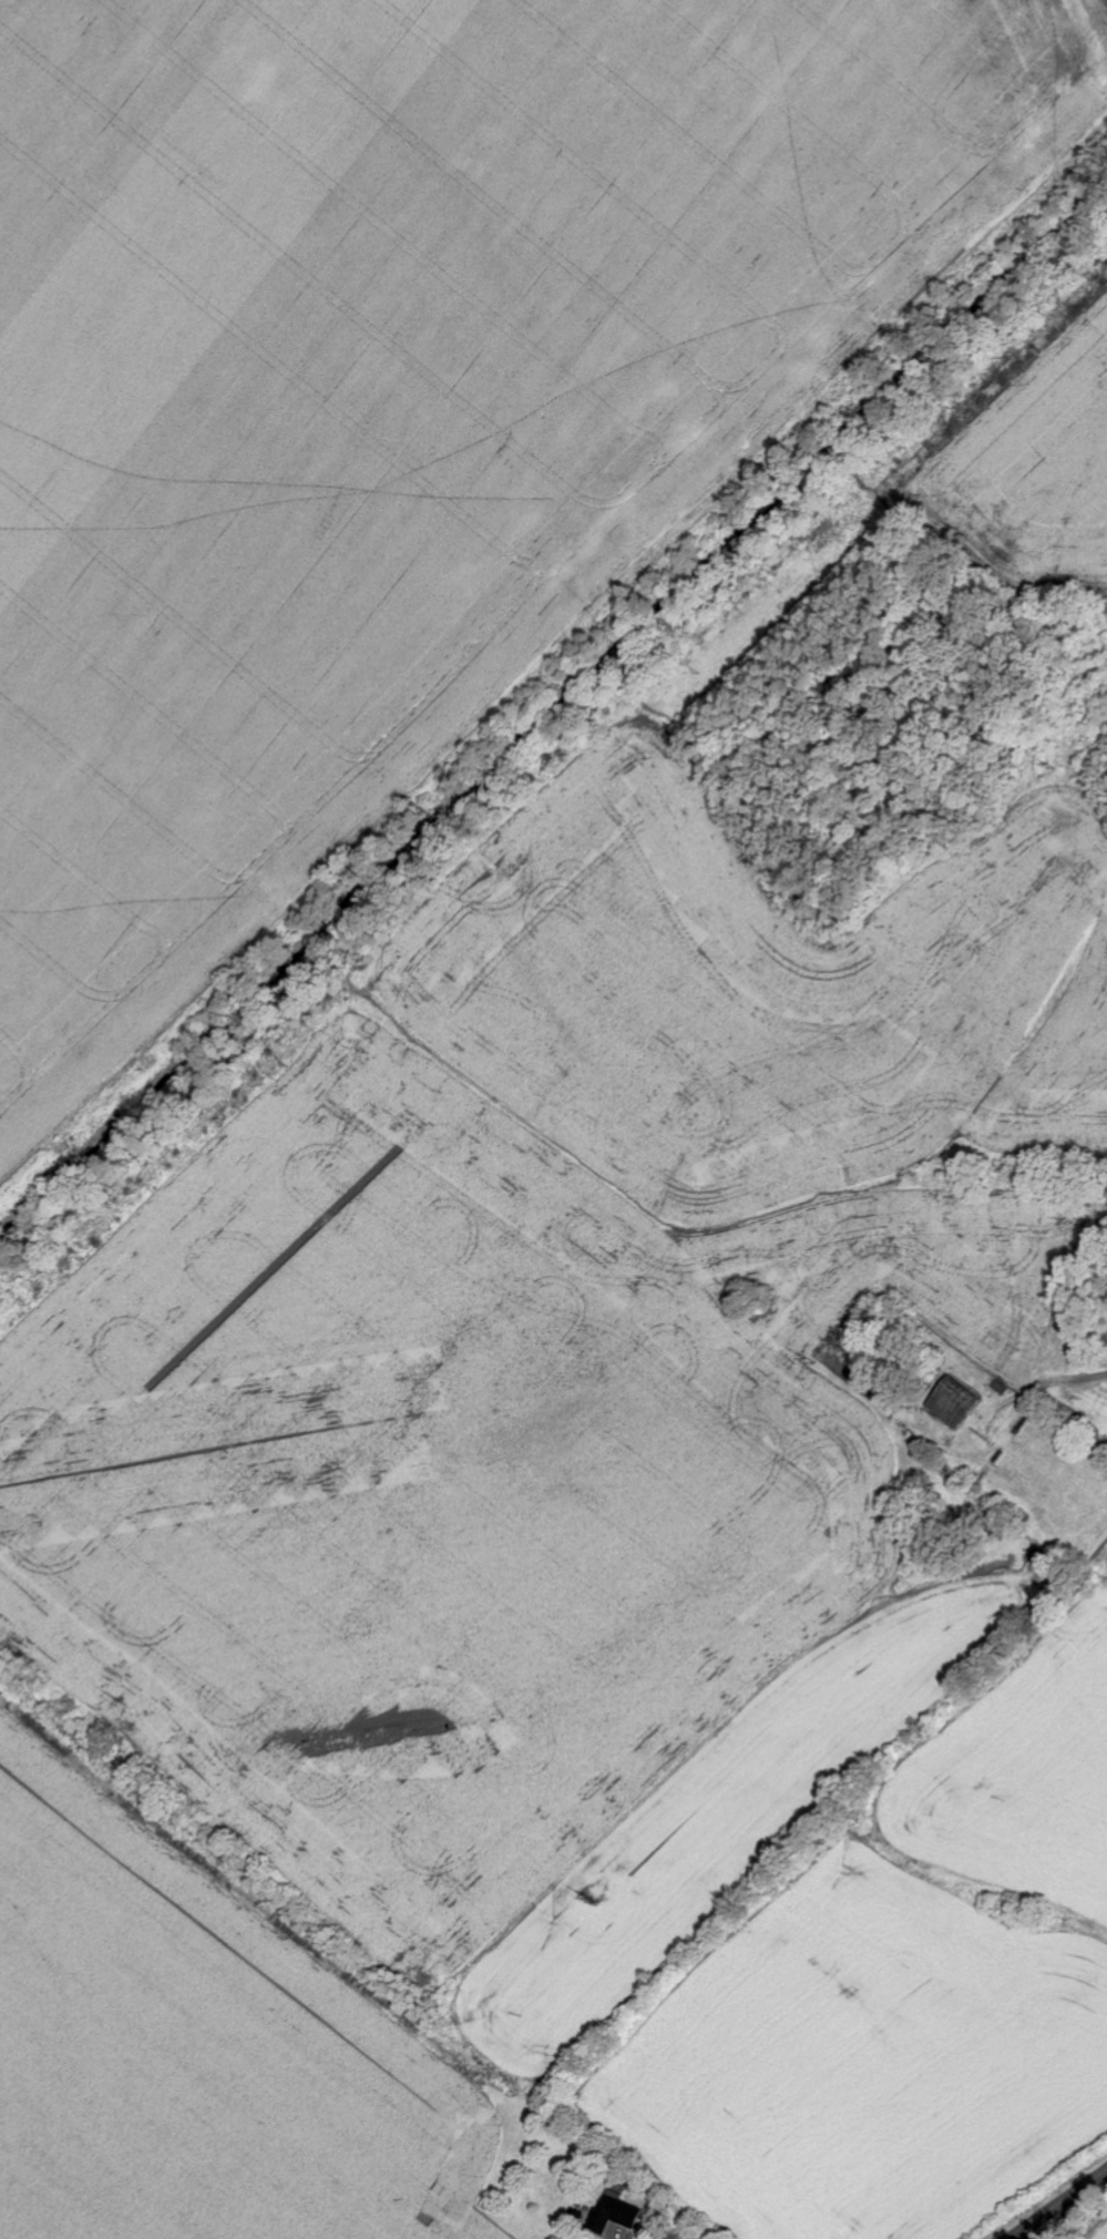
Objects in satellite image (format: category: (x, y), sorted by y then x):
road: (1012, 1368)
building: (952, 1403)
road: (1059, 2205)
building: (614, 2214)

